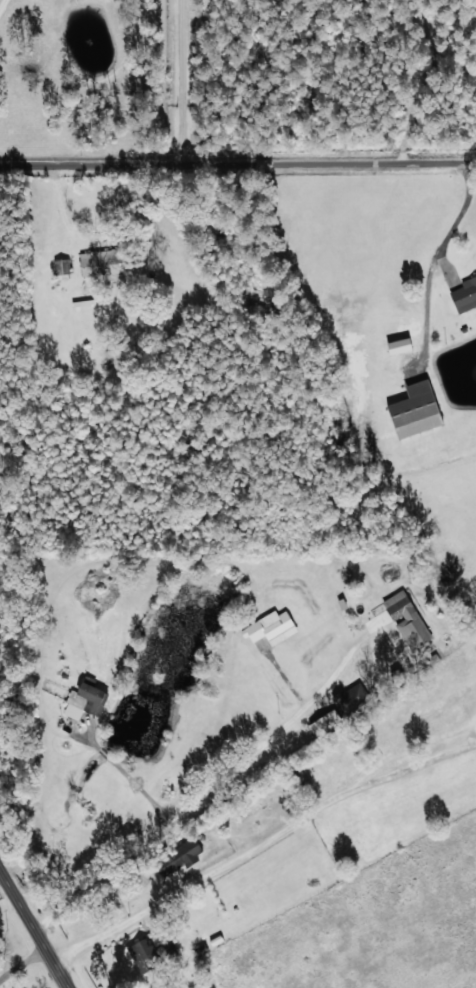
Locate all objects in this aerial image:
road: (157, 96)
road: (238, 189)
building: (96, 261)
building: (61, 266)
building: (464, 295)
building: (398, 346)
building: (414, 409)
building: (405, 618)
building: (270, 627)
road: (242, 630)
building: (350, 697)
building: (83, 699)
building: (253, 809)
road: (261, 844)
building: (178, 856)
road: (30, 935)
building: (141, 952)
building: (204, 987)

